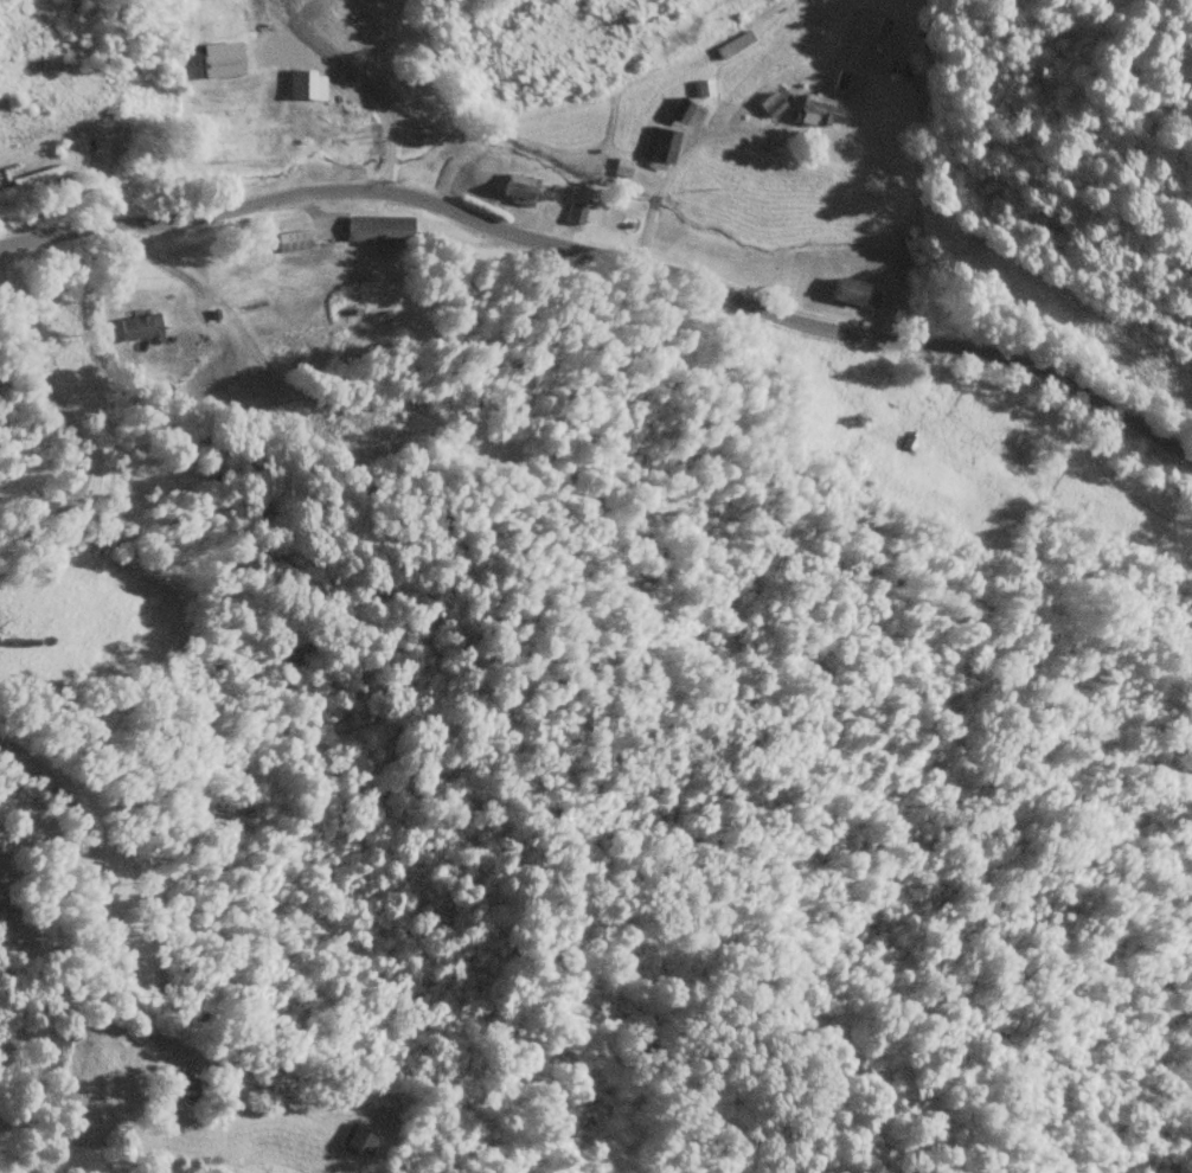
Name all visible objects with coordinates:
road: (367, 101)
road: (679, 156)
road: (610, 255)
road: (68, 418)
road: (97, 908)

